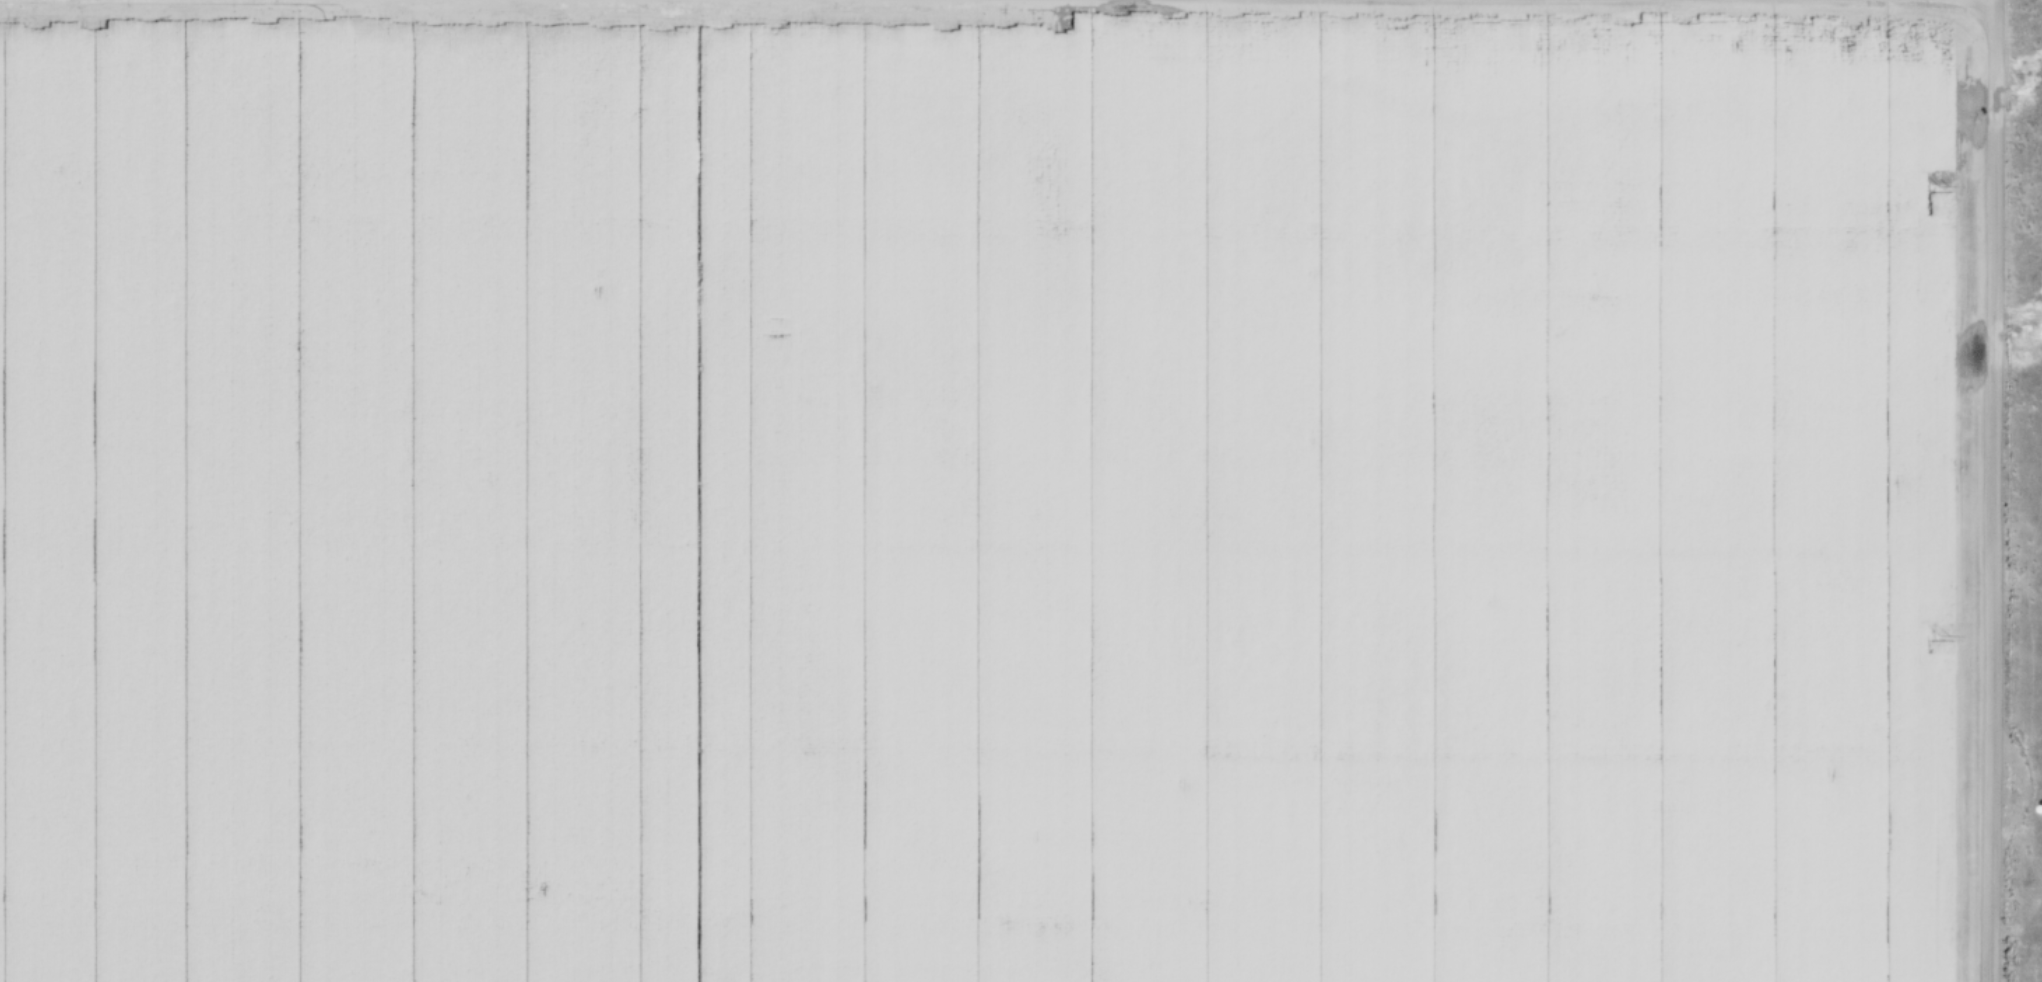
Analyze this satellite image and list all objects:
road: (1994, 1)
power tower: (1945, 183)
crop: (986, 490)
road: (1994, 492)
power tower: (1941, 632)

